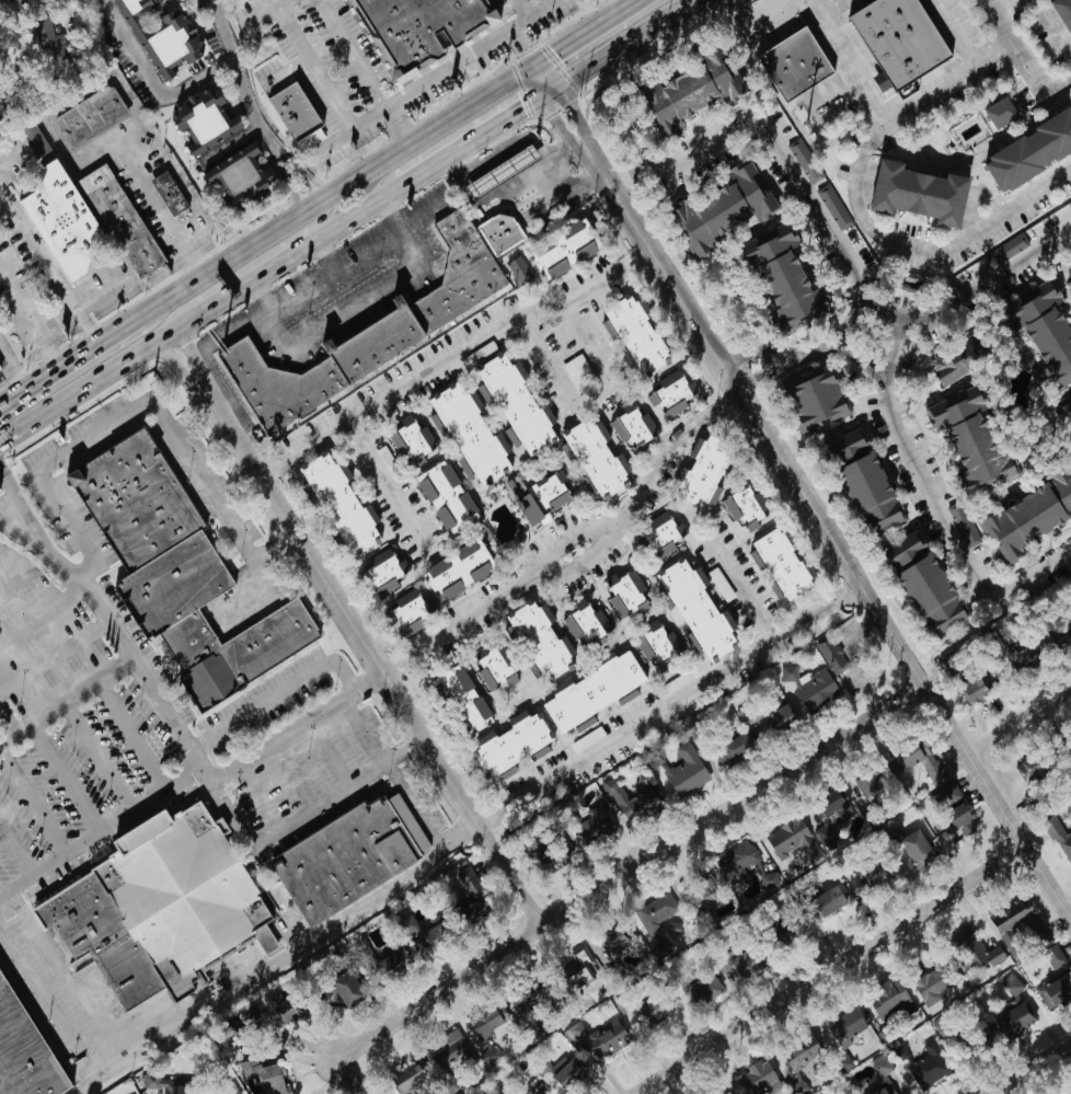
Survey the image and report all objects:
building: (166, 0)
building: (134, 4)
road: (618, 4)
road: (831, 7)
road: (545, 10)
building: (1061, 14)
building: (423, 27)
road: (588, 28)
building: (44, 33)
building: (892, 38)
road: (621, 41)
road: (522, 42)
traffic signals: (522, 42)
traffic signals: (557, 49)
road: (990, 50)
road: (1020, 56)
road: (535, 57)
road: (528, 61)
building: (785, 64)
road: (452, 67)
road: (238, 69)
road: (956, 71)
road: (151, 82)
building: (677, 89)
traffic signals: (566, 97)
traffic signals: (525, 102)
road: (569, 103)
road: (350, 108)
building: (291, 111)
road: (553, 113)
building: (993, 113)
building: (91, 116)
building: (201, 119)
road: (395, 127)
road: (477, 131)
road: (504, 135)
road: (270, 137)
building: (33, 140)
building: (1025, 143)
road: (21, 151)
road: (783, 153)
road: (557, 154)
road: (520, 159)
road: (464, 160)
building: (803, 161)
road: (301, 165)
building: (237, 173)
road: (286, 175)
road: (621, 179)
road: (486, 181)
building: (497, 182)
gas station: (497, 182)
road: (338, 187)
road: (558, 192)
building: (170, 193)
building: (909, 196)
road: (521, 199)
building: (832, 207)
road: (160, 208)
building: (719, 209)
road: (861, 216)
building: (60, 219)
building: (124, 221)
building: (502, 234)
road: (1067, 240)
road: (322, 246)
building: (565, 250)
building: (1004, 251)
road: (257, 258)
road: (48, 261)
road: (341, 264)
road: (637, 264)
building: (517, 270)
building: (782, 279)
road: (986, 280)
road: (371, 299)
road: (33, 310)
road: (199, 311)
road: (900, 329)
road: (234, 332)
building: (1044, 332)
building: (368, 334)
building: (634, 335)
road: (566, 345)
road: (828, 346)
road: (596, 353)
road: (450, 355)
road: (195, 358)
road: (768, 358)
road: (68, 360)
road: (554, 362)
building: (953, 362)
road: (14, 365)
road: (181, 368)
building: (670, 394)
building: (814, 400)
road: (140, 404)
road: (722, 404)
building: (516, 405)
building: (1067, 407)
building: (631, 426)
building: (468, 431)
building: (509, 437)
building: (410, 439)
building: (968, 439)
building: (595, 458)
road: (272, 465)
building: (462, 467)
building: (701, 472)
road: (383, 480)
building: (862, 482)
road: (12, 492)
building: (442, 494)
building: (537, 497)
building: (130, 498)
building: (339, 505)
building: (741, 507)
road: (10, 510)
building: (1029, 515)
road: (946, 521)
building: (959, 521)
road: (829, 534)
road: (573, 537)
building: (657, 537)
building: (779, 564)
road: (589, 569)
building: (457, 571)
building: (382, 572)
building: (168, 584)
building: (922, 585)
road: (753, 587)
building: (623, 594)
road: (849, 594)
building: (695, 610)
road: (43, 612)
building: (408, 613)
building: (584, 622)
road: (120, 634)
building: (1049, 636)
building: (539, 641)
building: (653, 644)
building: (229, 650)
building: (830, 656)
building: (1014, 656)
road: (373, 660)
road: (398, 660)
building: (493, 670)
building: (808, 687)
building: (974, 690)
road: (66, 691)
road: (277, 692)
building: (591, 692)
building: (462, 699)
road: (670, 705)
road: (5, 716)
road: (1018, 718)
building: (773, 721)
road: (293, 726)
road: (365, 727)
road: (127, 728)
building: (510, 745)
building: (733, 749)
road: (94, 750)
building: (917, 762)
building: (1028, 769)
road: (60, 771)
building: (686, 771)
road: (399, 781)
building: (866, 782)
building: (944, 797)
road: (30, 798)
building: (631, 799)
road: (300, 813)
building: (829, 816)
road: (492, 817)
building: (953, 818)
road: (100, 822)
road: (427, 826)
building: (594, 826)
building: (1059, 837)
building: (791, 839)
road: (13, 845)
building: (915, 849)
building: (546, 859)
building: (333, 862)
building: (744, 866)
road: (630, 870)
building: (867, 875)
building: (701, 893)
building: (465, 894)
building: (151, 898)
building: (827, 901)
building: (655, 911)
road: (1069, 912)
building: (1017, 923)
building: (423, 934)
building: (609, 946)
building: (980, 952)
road: (278, 959)
building: (1055, 959)
building: (391, 964)
building: (741, 964)
road: (62, 969)
road: (830, 969)
building: (580, 981)
building: (930, 986)
building: (345, 988)
building: (699, 989)
building: (1053, 993)
building: (530, 995)
building: (889, 1000)
road: (49, 1002)
building: (1011, 1007)
building: (653, 1012)
building: (270, 1018)
building: (486, 1020)
building: (847, 1025)
building: (983, 1036)
building: (606, 1038)
building: (447, 1051)
building: (21, 1052)
building: (799, 1053)
building: (879, 1066)
building: (929, 1068)
road: (1029, 1068)
road: (349, 1074)
building: (568, 1074)
building: (269, 1078)
building: (405, 1078)
building: (756, 1078)
building: (165, 1085)
building: (229, 1090)
building: (884, 1090)
building: (1066, 1092)

